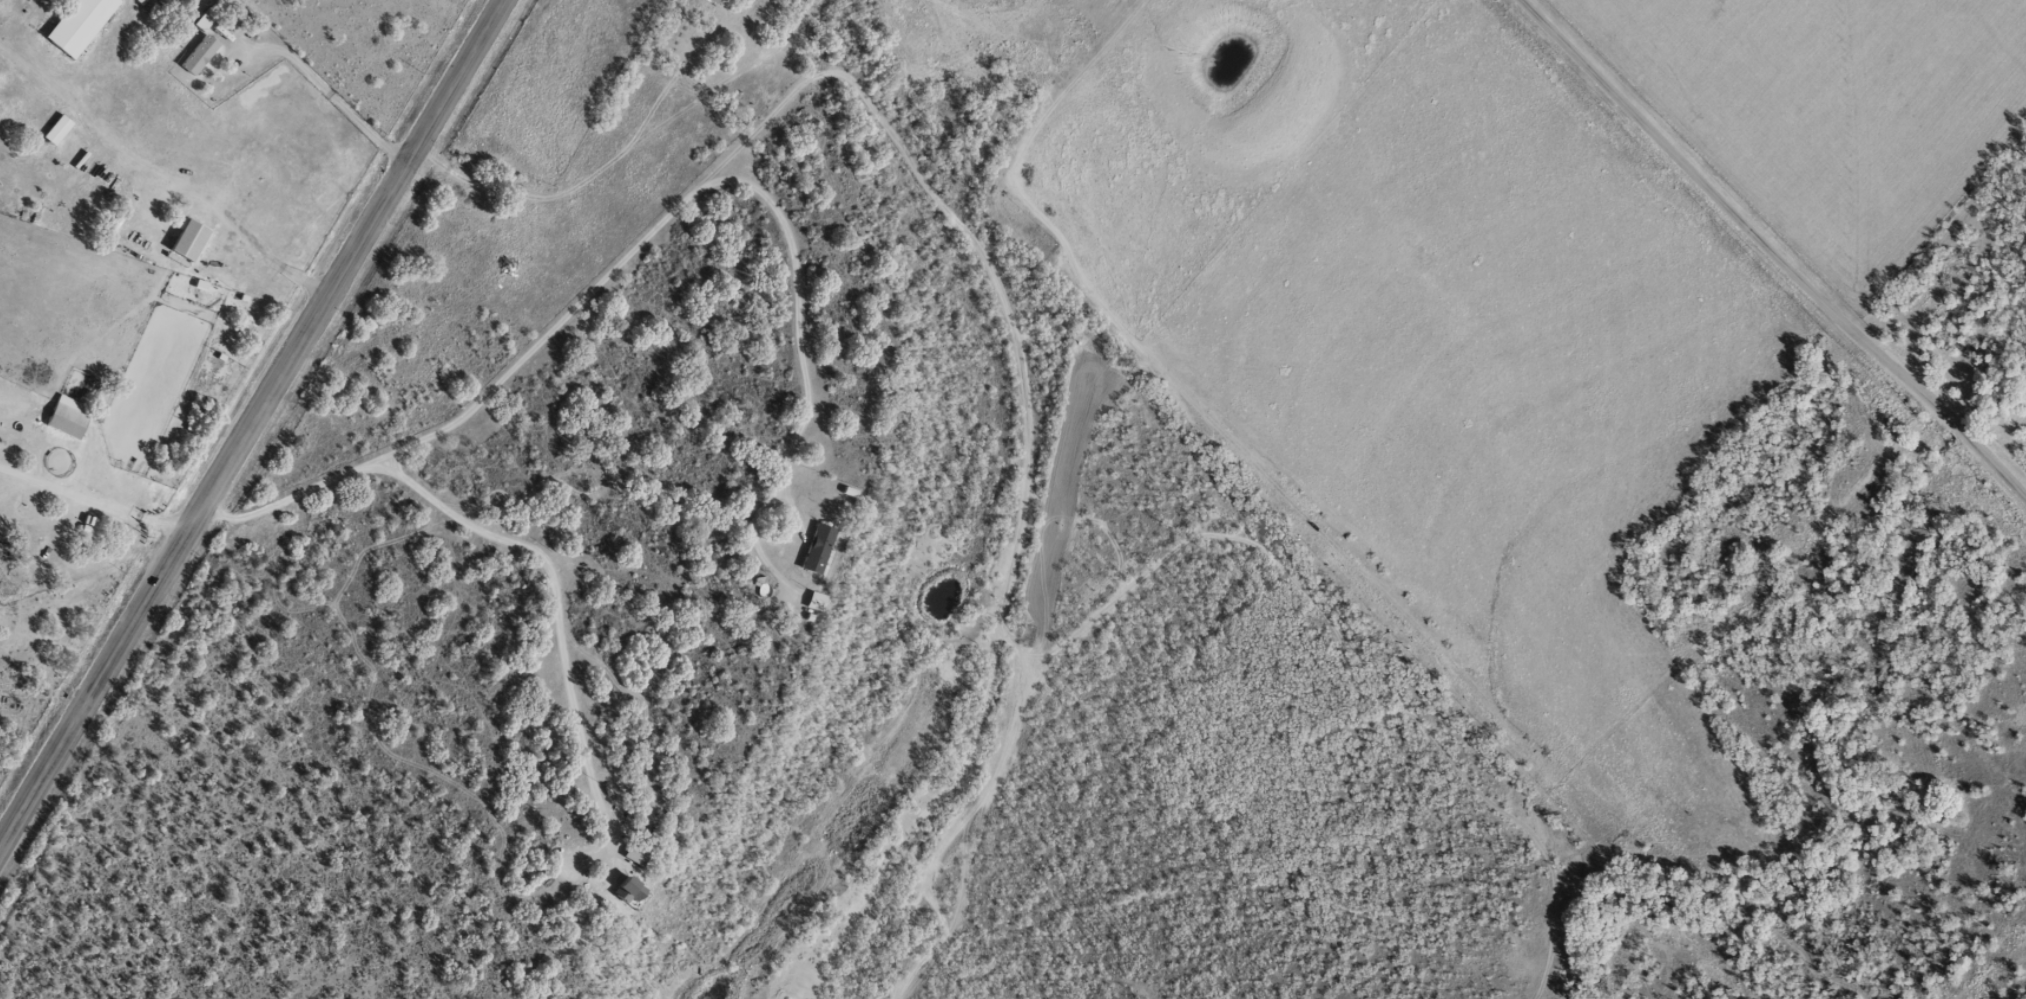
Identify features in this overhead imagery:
building: (718, 1)
building: (204, 18)
building: (78, 25)
building: (198, 54)
building: (56, 128)
road: (544, 195)
road: (895, 203)
building: (187, 238)
road: (1754, 271)
building: (67, 417)
road: (251, 423)
building: (0, 508)
building: (820, 548)
building: (819, 601)
building: (636, 857)
building: (632, 890)

